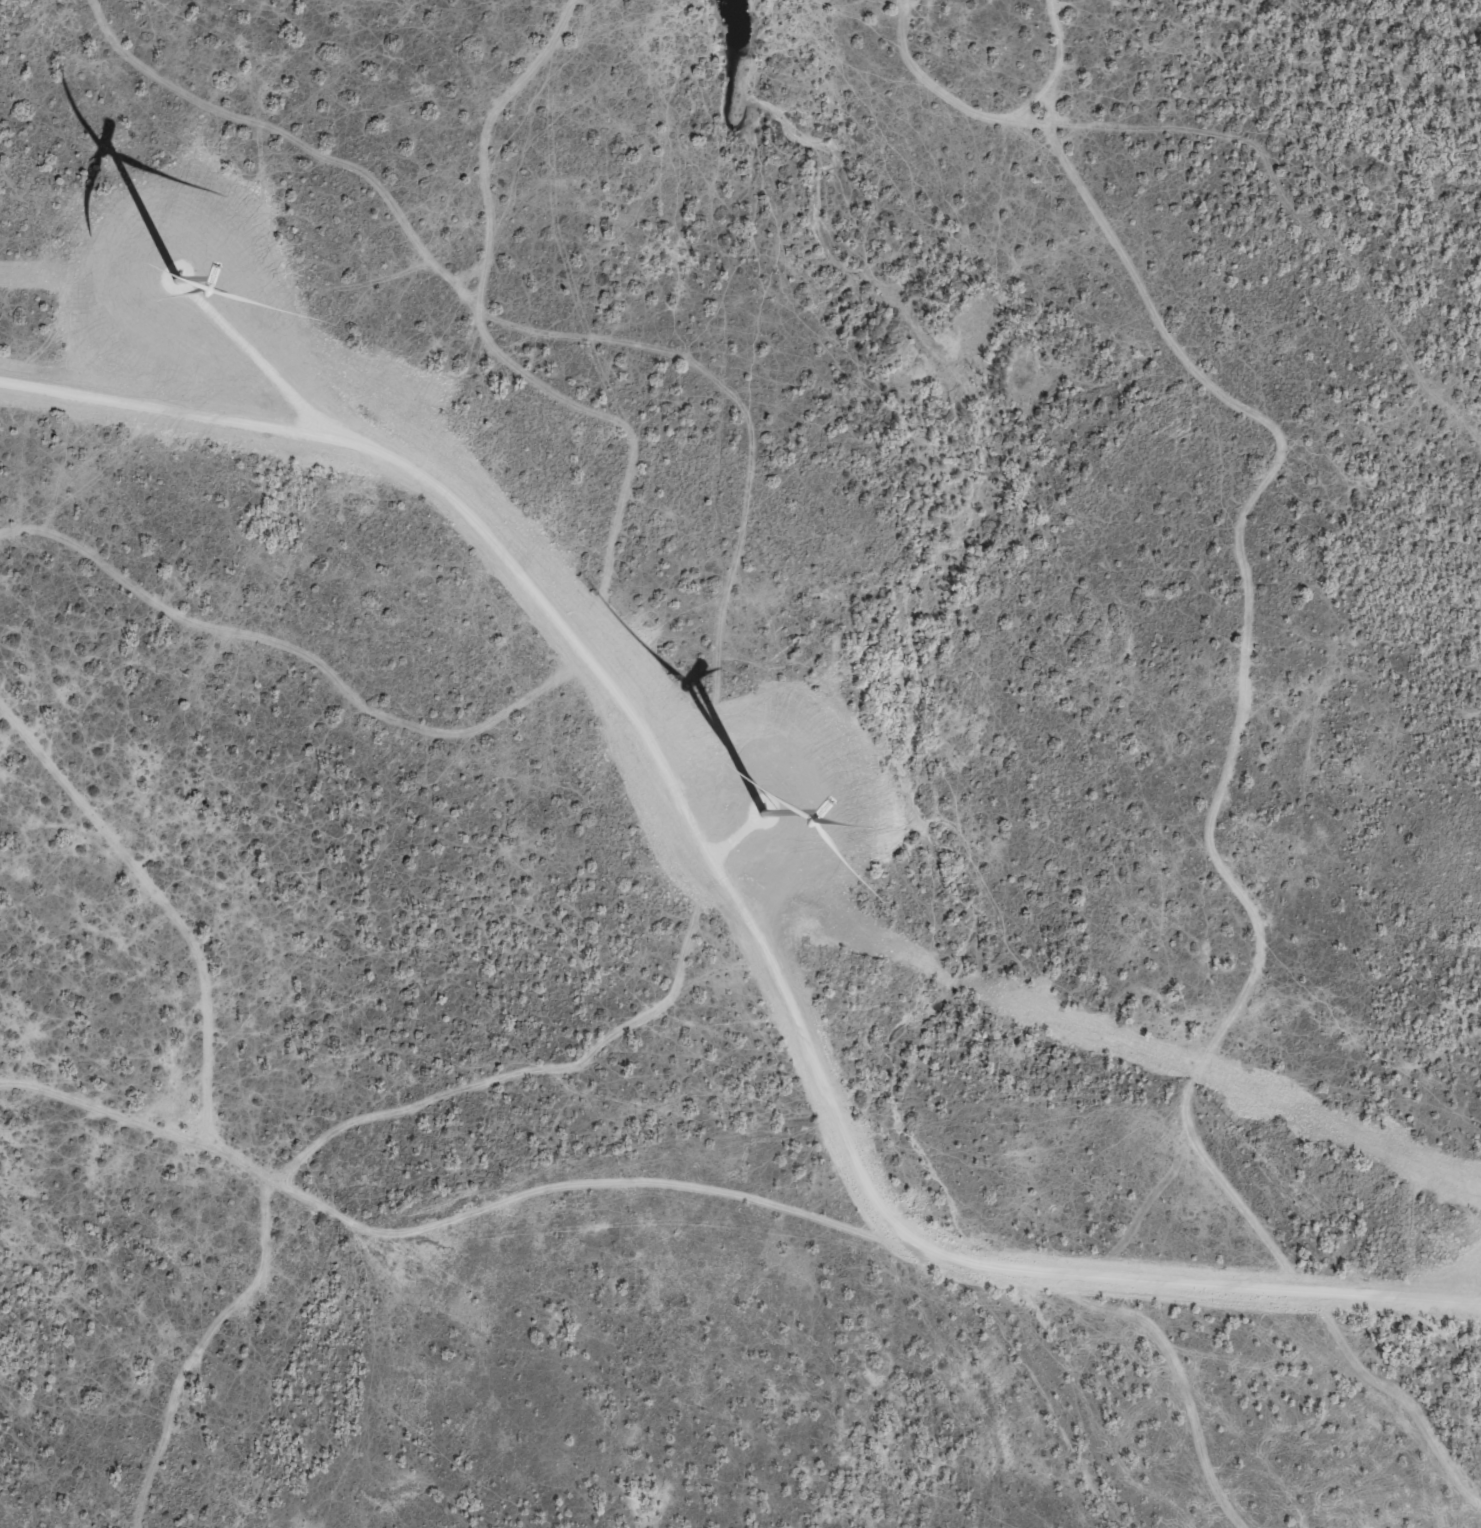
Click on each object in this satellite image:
road: (1278, 53)
wind turbine: (177, 277)
road: (277, 380)
road: (307, 423)
road: (667, 457)
road: (1363, 780)
wind turbine: (767, 810)
road: (735, 896)

